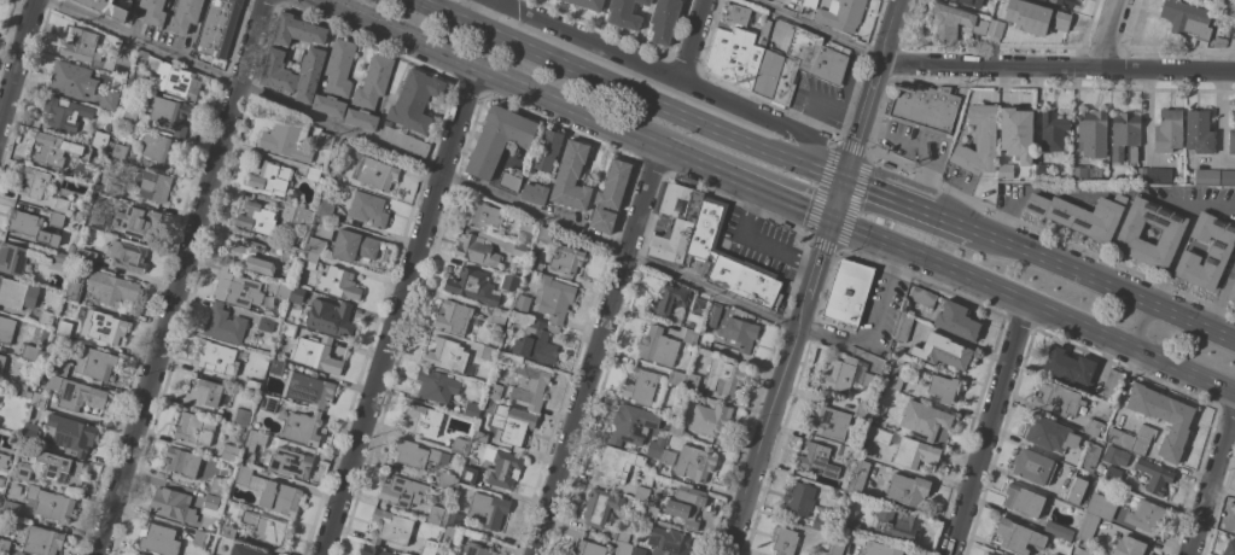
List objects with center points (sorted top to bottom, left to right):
building: (1043, 0)
building: (1208, 0)
building: (1216, 0)
road: (495, 2)
building: (809, 2)
building: (971, 2)
building: (1065, 2)
building: (588, 4)
building: (1229, 7)
building: (106, 8)
building: (138, 11)
building: (153, 12)
building: (624, 13)
building: (840, 14)
building: (183, 16)
building: (736, 16)
building: (1035, 17)
building: (1186, 19)
building: (664, 21)
building: (954, 22)
building: (217, 27)
building: (765, 28)
road: (815, 28)
building: (1234, 29)
building: (297, 30)
building: (995, 30)
road: (890, 33)
road: (1111, 35)
road: (691, 40)
road: (140, 41)
building: (1219, 41)
building: (80, 46)
building: (123, 54)
building: (817, 55)
building: (733, 57)
road: (18, 60)
building: (148, 62)
building: (339, 68)
road: (1056, 70)
building: (278, 72)
building: (309, 74)
road: (485, 74)
building: (767, 74)
road: (670, 78)
building: (71, 80)
building: (373, 82)
building: (182, 83)
building: (783, 83)
road: (630, 92)
building: (107, 100)
building: (415, 100)
building: (328, 105)
building: (925, 109)
building: (64, 113)
building: (126, 115)
building: (170, 115)
building: (361, 118)
road: (1219, 129)
building: (1053, 130)
building: (1167, 132)
building: (1198, 132)
building: (1016, 133)
building: (1093, 134)
building: (1124, 134)
building: (286, 139)
building: (497, 139)
building: (1231, 139)
building: (99, 140)
building: (325, 140)
building: (402, 140)
building: (979, 141)
road: (855, 144)
building: (344, 146)
building: (159, 147)
building: (56, 150)
building: (116, 150)
building: (548, 151)
road: (1227, 159)
building: (1004, 171)
building: (1041, 171)
building: (311, 174)
building: (377, 174)
building: (1079, 174)
building: (1142, 174)
building: (89, 175)
traffic signals: (845, 176)
building: (1158, 176)
building: (269, 177)
building: (571, 177)
building: (1206, 177)
building: (1228, 177)
building: (511, 180)
building: (34, 183)
road: (746, 185)
building: (153, 186)
building: (113, 187)
road: (1100, 192)
building: (535, 193)
road: (887, 194)
building: (610, 195)
building: (60, 205)
building: (325, 208)
road: (515, 208)
building: (368, 209)
building: (1080, 215)
building: (299, 216)
building: (483, 216)
building: (256, 218)
building: (56, 220)
building: (676, 221)
building: (97, 222)
building: (136, 222)
traffic signals: (833, 223)
road: (955, 224)
building: (528, 226)
building: (31, 228)
building: (1128, 233)
building: (543, 234)
road: (755, 241)
parking lot: (759, 244)
building: (315, 246)
building: (354, 246)
building: (485, 247)
building: (70, 250)
building: (1218, 252)
building: (292, 253)
building: (127, 256)
building: (85, 257)
building: (250, 257)
building: (12, 258)
building: (535, 259)
building: (566, 259)
building: (59, 261)
building: (310, 261)
road: (819, 261)
building: (728, 262)
road: (179, 276)
building: (338, 284)
building: (509, 284)
building: (472, 286)
building: (111, 288)
road: (1106, 288)
building: (235, 290)
building: (72, 291)
building: (282, 291)
building: (1231, 292)
building: (17, 293)
building: (297, 294)
building: (847, 294)
road: (1221, 296)
building: (922, 297)
building: (554, 298)
building: (668, 299)
building: (522, 304)
building: (699, 306)
road: (1033, 306)
road: (401, 312)
building: (712, 315)
building: (453, 317)
building: (497, 317)
building: (45, 319)
building: (331, 319)
road: (1148, 319)
building: (956, 321)
building: (266, 325)
building: (223, 326)
building: (63, 328)
building: (106, 328)
building: (903, 328)
building: (6, 329)
building: (287, 329)
building: (739, 333)
building: (45, 334)
building: (691, 337)
building: (536, 341)
building: (279, 346)
building: (658, 346)
road: (594, 350)
building: (942, 351)
building: (29, 352)
building: (487, 354)
building: (316, 355)
building: (447, 356)
building: (215, 358)
building: (1, 362)
building: (98, 364)
building: (58, 367)
building: (276, 367)
building: (1067, 367)
building: (838, 374)
building: (723, 376)
building: (676, 378)
building: (896, 378)
building: (869, 380)
building: (691, 382)
building: (252, 385)
building: (640, 385)
building: (1112, 385)
building: (436, 386)
building: (529, 386)
building: (940, 386)
building: (19, 388)
building: (308, 390)
building: (494, 391)
building: (204, 392)
building: (76, 393)
building: (37, 399)
building: (1058, 399)
building: (268, 404)
building: (471, 410)
building: (240, 417)
building: (1163, 417)
building: (710, 419)
building: (832, 419)
building: (423, 420)
building: (926, 421)
building: (512, 425)
building: (633, 425)
road: (767, 426)
building: (1093, 427)
building: (304, 428)
building: (676, 428)
road: (988, 428)
building: (194, 430)
building: (30, 433)
building: (1049, 433)
building: (69, 434)
building: (878, 436)
building: (480, 437)
building: (1131, 439)
building: (255, 440)
building: (460, 446)
building: (654, 449)
building: (847, 451)
building: (229, 452)
building: (914, 454)
building: (418, 455)
building: (1089, 456)
building: (1115, 456)
building: (668, 458)
building: (816, 460)
building: (4, 461)
building: (181, 462)
building: (290, 462)
building: (695, 462)
building: (616, 466)
building: (1032, 466)
building: (502, 468)
building: (60, 469)
building: (21, 473)
building: (1112, 474)
building: (468, 475)
building: (1154, 475)
building: (856, 477)
building: (1, 480)
building: (447, 481)
road: (1212, 483)
building: (216, 487)
building: (16, 490)
building: (908, 490)
building: (402, 491)
building: (642, 491)
building: (1076, 491)
building: (273, 493)
building: (799, 498)
building: (0, 501)
building: (1023, 501)
building: (48, 504)
building: (173, 504)
building: (686, 506)
building: (1101, 506)
building: (212, 507)
building: (599, 507)
building: (10, 509)
building: (488, 510)
building: (651, 510)
building: (1146, 515)
building: (438, 516)
building: (454, 520)
building: (823, 524)
building: (897, 524)
building: (850, 526)
building: (1087, 526)
building: (390, 527)
building: (1233, 527)
building: (266, 528)
building: (1058, 531)
building: (227, 532)
building: (450, 533)
building: (622, 534)
building: (1019, 537)
building: (158, 539)
building: (200, 539)
building: (783, 541)
building: (42, 542)
building: (665, 543)
building: (4, 545)
building: (427, 547)
building: (835, 547)
building: (1129, 547)
building: (589, 548)
building: (1229, 548)
building: (624, 549)
building: (879, 549)
building: (244, 550)
building: (477, 550)
building: (373, 551)
building: (1084, 553)
building: (133, 554)
building: (138, 554)
building: (984, 554)
building: (989, 554)
building: (1054, 554)

